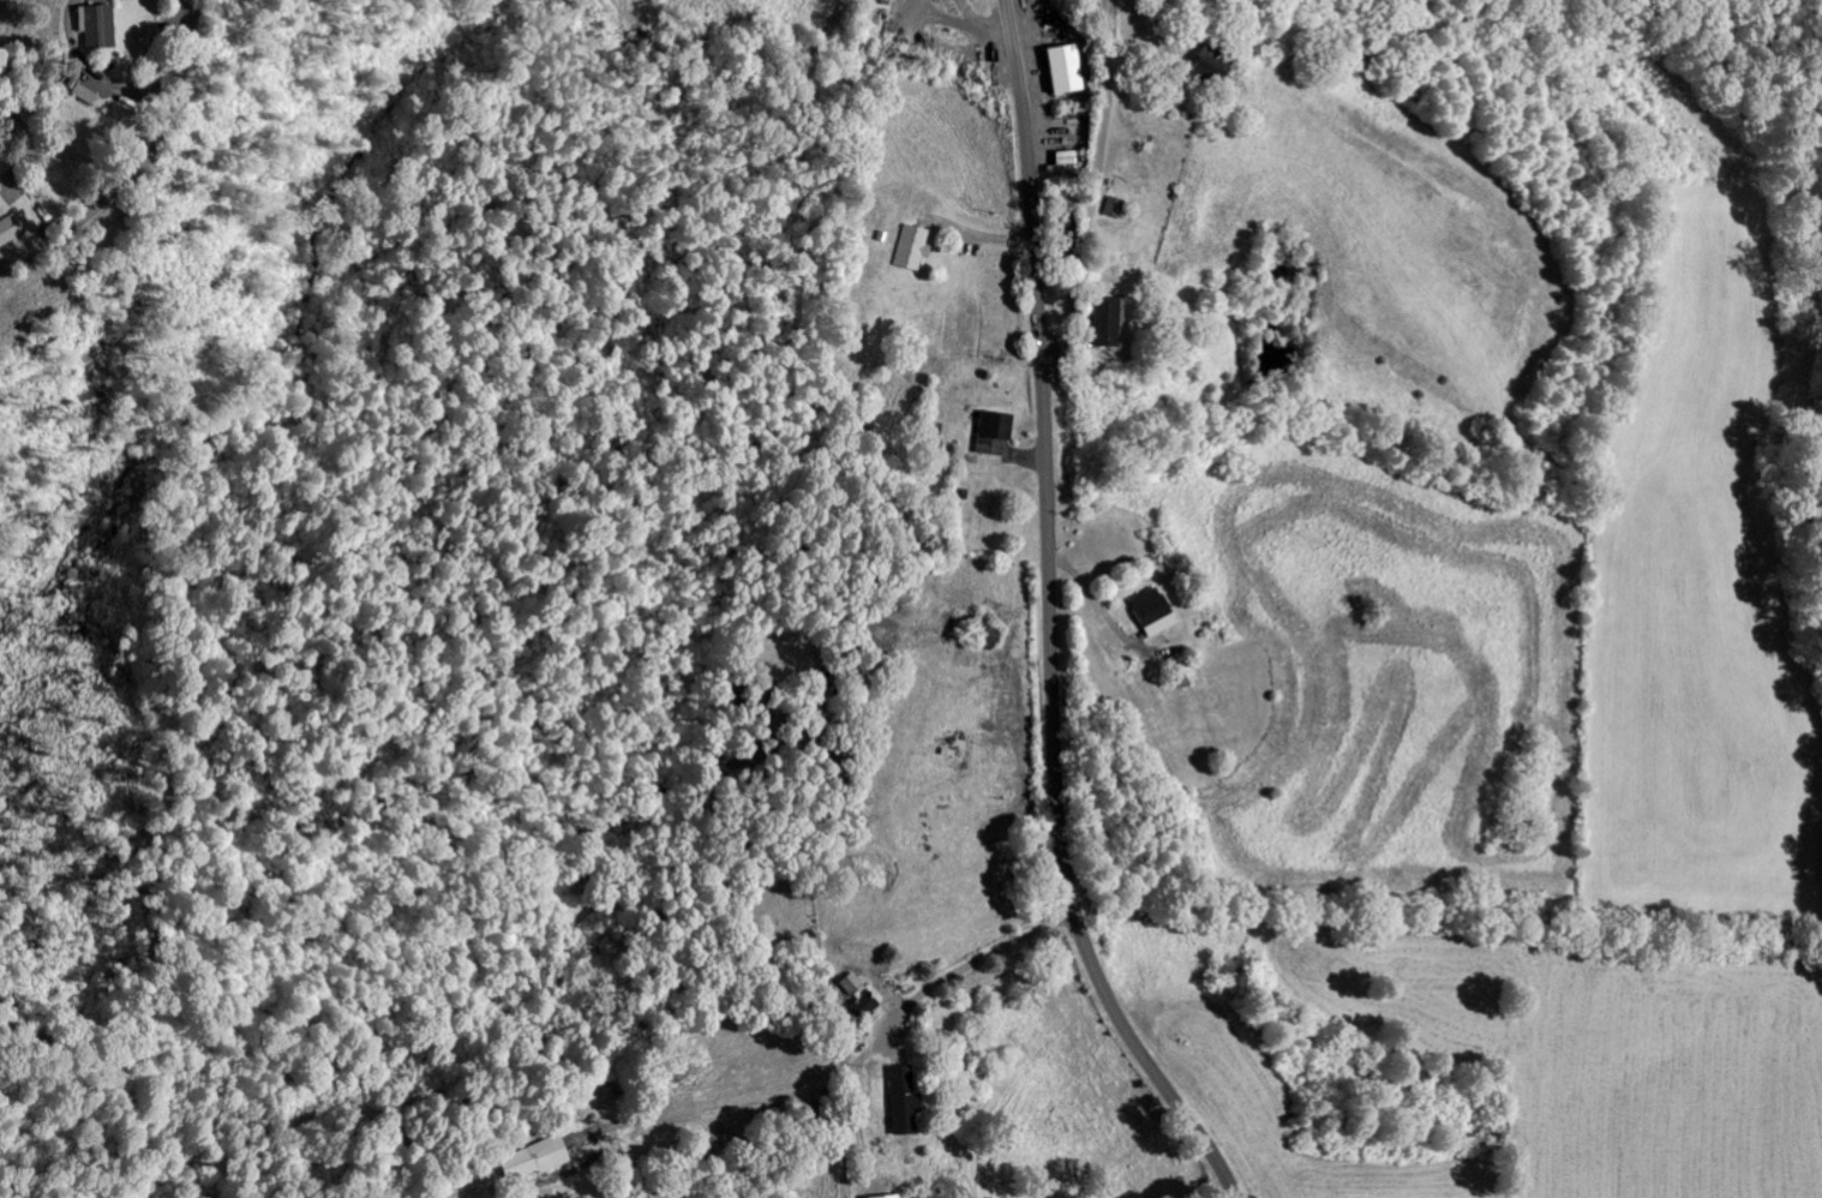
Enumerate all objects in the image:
building: (106, 30)
building: (1194, 72)
building: (1056, 73)
building: (92, 97)
road: (138, 127)
building: (1060, 164)
road: (1097, 185)
building: (8, 232)
building: (905, 252)
building: (1097, 327)
building: (987, 435)
building: (1144, 616)
road: (1048, 621)
building: (852, 996)
building: (895, 1102)
building: (527, 1163)
building: (888, 1197)

